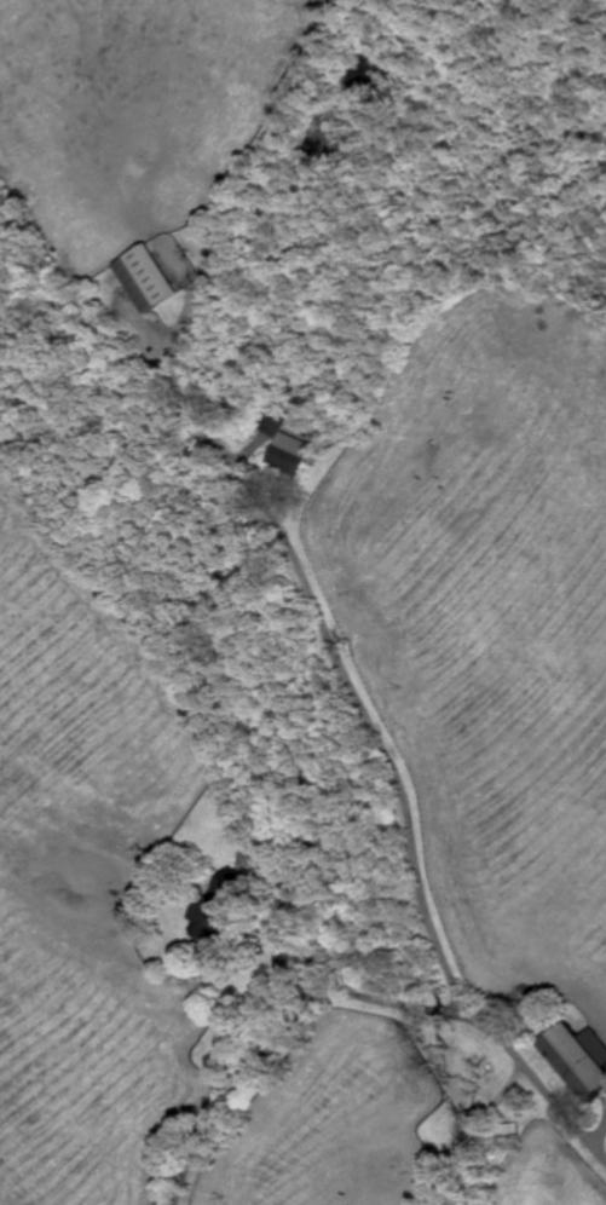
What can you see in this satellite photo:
building: (146, 275)
building: (287, 444)
road: (344, 664)
building: (239, 888)
building: (218, 913)
road: (365, 994)
building: (581, 1053)

